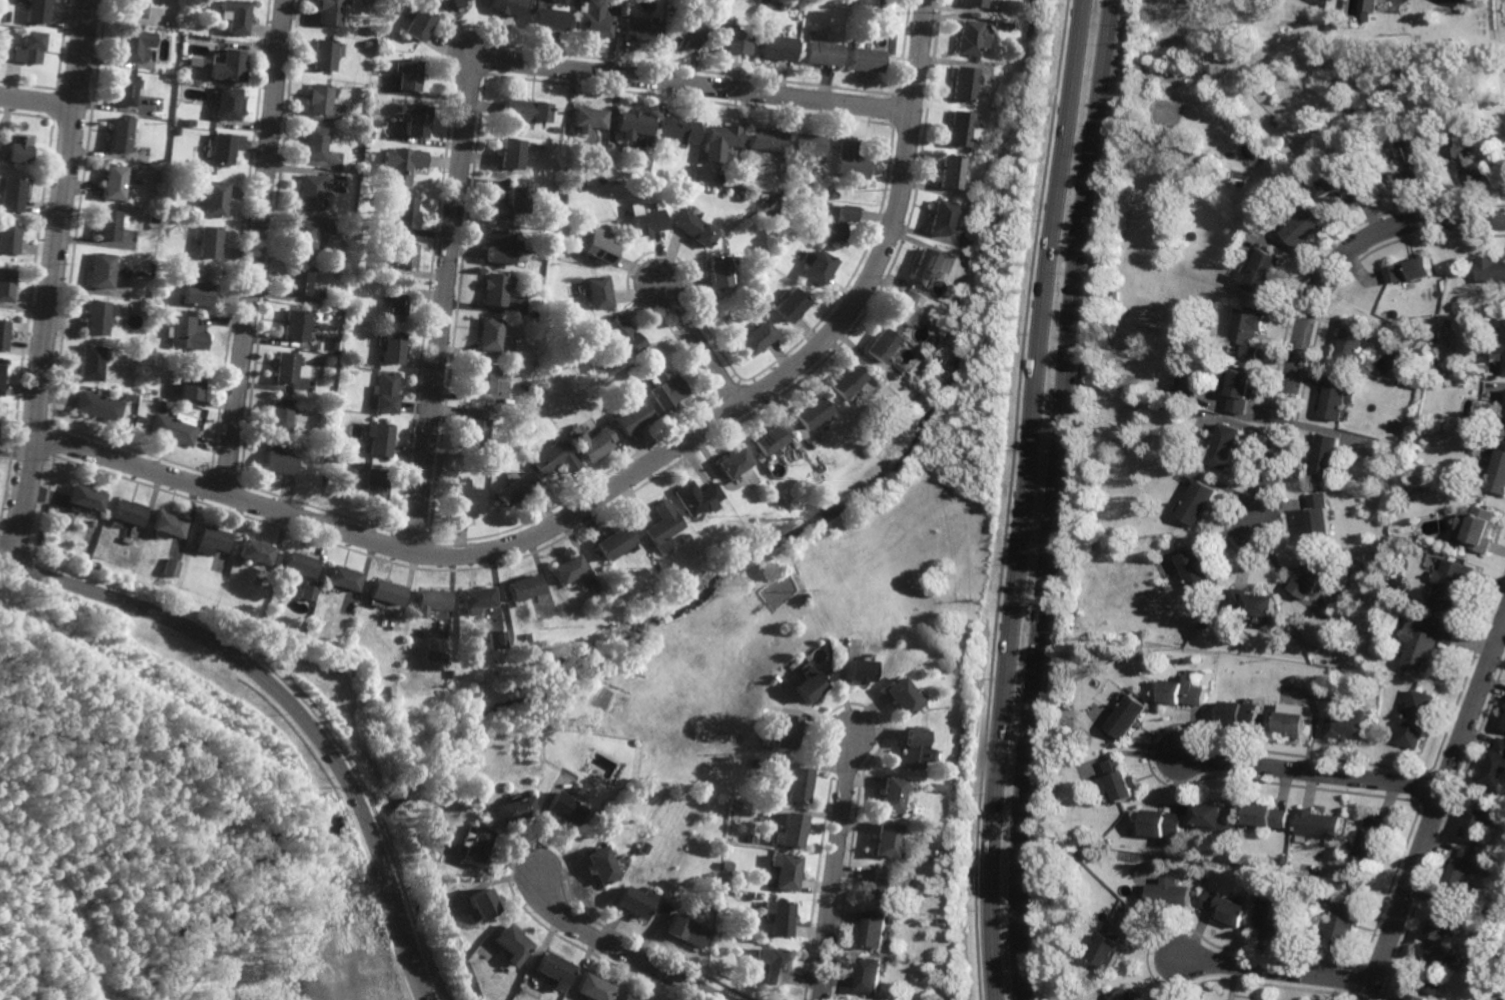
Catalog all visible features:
building: (614, 2)
building: (847, 2)
building: (876, 3)
building: (970, 3)
building: (450, 4)
building: (506, 6)
building: (132, 8)
building: (1367, 8)
building: (34, 11)
building: (330, 11)
building: (234, 15)
building: (548, 19)
building: (593, 20)
building: (418, 23)
building: (1005, 25)
building: (1326, 26)
building: (639, 30)
building: (682, 36)
building: (965, 37)
building: (728, 39)
building: (1415, 39)
building: (131, 44)
building: (368, 44)
building: (27, 47)
building: (773, 47)
building: (1404, 52)
building: (818, 53)
building: (323, 54)
building: (862, 59)
building: (201, 62)
building: (226, 66)
building: (184, 69)
building: (407, 74)
building: (961, 83)
building: (122, 90)
road: (469, 92)
building: (318, 98)
building: (1378, 99)
building: (993, 100)
road: (38, 102)
building: (224, 103)
building: (525, 110)
building: (1353, 117)
building: (414, 119)
building: (586, 119)
building: (188, 122)
building: (374, 122)
building: (631, 124)
building: (956, 128)
building: (175, 131)
building: (675, 131)
building: (370, 134)
building: (116, 135)
building: (720, 136)
building: (763, 140)
building: (647, 141)
building: (313, 143)
building: (805, 144)
building: (1409, 147)
building: (16, 148)
building: (1460, 148)
building: (217, 149)
building: (509, 154)
building: (848, 160)
building: (401, 164)
building: (811, 171)
building: (947, 172)
building: (688, 176)
building: (1471, 177)
building: (789, 178)
building: (1416, 179)
building: (110, 182)
building: (674, 183)
building: (734, 184)
building: (761, 185)
building: (1347, 187)
building: (306, 192)
building: (11, 193)
building: (832, 195)
building: (560, 197)
building: (211, 200)
building: (767, 202)
building: (513, 203)
building: (405, 212)
building: (770, 215)
building: (938, 218)
building: (835, 221)
building: (646, 222)
building: (360, 224)
building: (105, 225)
building: (694, 228)
building: (1306, 230)
building: (357, 233)
building: (812, 234)
building: (301, 237)
building: (8, 238)
building: (327, 240)
building: (207, 243)
building: (598, 246)
road: (255, 247)
building: (499, 248)
building: (401, 256)
building: (591, 263)
building: (921, 267)
building: (816, 268)
building: (100, 271)
building: (1489, 272)
building: (716, 273)
building: (1406, 273)
building: (1265, 278)
building: (297, 280)
road: (52, 283)
building: (5, 285)
building: (194, 289)
building: (493, 290)
building: (597, 293)
road: (1311, 301)
building: (788, 304)
building: (395, 305)
building: (1457, 306)
building: (904, 307)
building: (336, 315)
building: (94, 318)
building: (293, 324)
building: (1110, 324)
building: (949, 325)
building: (3, 332)
building: (487, 332)
building: (1248, 332)
building: (185, 333)
building: (621, 335)
building: (754, 336)
building: (1353, 338)
building: (140, 340)
building: (882, 343)
building: (1500, 344)
building: (323, 345)
road: (696, 345)
building: (391, 346)
building: (137, 350)
building: (357, 360)
building: (89, 361)
building: (283, 366)
building: (903, 368)
building: (1, 374)
building: (896, 374)
building: (481, 377)
building: (844, 380)
building: (1189, 381)
building: (190, 383)
building: (1240, 383)
building: (667, 389)
building: (383, 392)
building: (1337, 395)
building: (127, 397)
building: (1176, 405)
building: (97, 406)
building: (810, 412)
building: (633, 413)
building: (278, 414)
building: (141, 419)
building: (1504, 421)
building: (472, 425)
building: (173, 428)
building: (871, 432)
building: (377, 437)
building: (767, 438)
building: (593, 442)
building: (1224, 444)
building: (315, 450)
building: (554, 456)
building: (1326, 456)
building: (277, 459)
building: (732, 461)
building: (481, 465)
building: (818, 467)
building: (1493, 472)
building: (373, 484)
road: (616, 485)
building: (515, 487)
building: (697, 495)
building: (84, 497)
building: (466, 498)
road: (1025, 499)
road: (1051, 499)
building: (1197, 500)
building: (1318, 514)
building: (126, 516)
building: (751, 517)
building: (167, 523)
building: (664, 526)
building: (1473, 527)
building: (826, 532)
building: (211, 537)
building: (614, 542)
building: (253, 551)
building: (1375, 555)
building: (297, 564)
building: (169, 566)
building: (568, 568)
building: (1365, 568)
building: (1196, 569)
building: (229, 572)
building: (1311, 575)
building: (341, 577)
building: (625, 582)
building: (1449, 583)
building: (523, 586)
building: (384, 591)
building: (307, 592)
building: (802, 597)
building: (475, 599)
building: (428, 601)
building: (1251, 603)
building: (208, 609)
building: (1381, 613)
building: (497, 638)
building: (1425, 642)
building: (854, 671)
building: (450, 673)
building: (802, 687)
building: (1183, 693)
building: (900, 696)
road: (290, 705)
building: (1067, 705)
building: (1241, 715)
building: (1126, 716)
building: (1414, 718)
building: (1293, 724)
building: (1504, 724)
building: (1348, 726)
building: (779, 732)
building: (913, 749)
building: (750, 765)
building: (1496, 765)
road: (1310, 773)
building: (1119, 780)
building: (942, 781)
building: (794, 787)
building: (891, 795)
building: (478, 805)
road: (1435, 808)
building: (564, 809)
building: (512, 811)
building: (1268, 816)
building: (1480, 818)
building: (1217, 819)
building: (1162, 824)
building: (1317, 825)
building: (788, 833)
building: (1050, 834)
building: (747, 840)
building: (1370, 840)
building: (886, 841)
building: (1107, 842)
building: (473, 849)
building: (645, 849)
building: (933, 858)
building: (1285, 861)
building: (602, 867)
building: (724, 867)
road: (835, 869)
building: (1461, 870)
building: (1318, 872)
building: (783, 873)
building: (941, 874)
building: (1341, 875)
building: (881, 887)
building: (1170, 896)
building: (636, 904)
building: (479, 907)
building: (1227, 910)
building: (777, 919)
building: (1443, 920)
building: (1279, 921)
building: (943, 923)
building: (1340, 923)
building: (874, 931)
building: (687, 933)
building: (511, 945)
building: (1109, 946)
road: (617, 950)
building: (1438, 960)
building: (770, 967)
road: (1276, 971)
building: (554, 973)
building: (869, 977)
building: (1431, 986)
building: (593, 990)
building: (1125, 996)
building: (626, 998)
building: (1413, 998)

